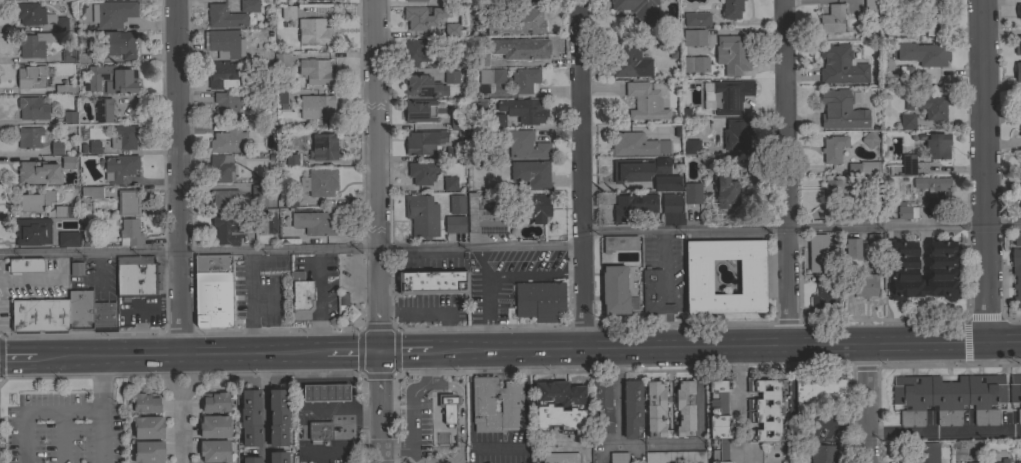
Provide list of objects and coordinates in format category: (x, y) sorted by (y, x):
building: (312, 0)
building: (416, 0)
building: (527, 1)
building: (248, 6)
building: (869, 7)
building: (731, 8)
building: (638, 10)
building: (288, 12)
building: (113, 13)
building: (1016, 14)
building: (37, 16)
building: (224, 16)
building: (931, 16)
building: (424, 17)
building: (697, 19)
building: (832, 19)
building: (531, 22)
building: (453, 29)
building: (314, 31)
building: (694, 37)
building: (226, 43)
building: (117, 44)
building: (33, 45)
building: (1017, 45)
building: (532, 48)
building: (414, 51)
building: (900, 54)
building: (67, 55)
building: (732, 55)
building: (932, 55)
building: (486, 57)
building: (451, 58)
building: (623, 58)
building: (281, 59)
building: (695, 64)
building: (842, 65)
building: (315, 71)
building: (1018, 71)
building: (905, 73)
building: (228, 75)
building: (31, 76)
building: (492, 76)
building: (452, 77)
building: (124, 79)
building: (525, 79)
building: (422, 86)
building: (65, 88)
building: (281, 94)
building: (730, 96)
building: (275, 98)
building: (645, 101)
building: (908, 102)
building: (1020, 102)
building: (932, 104)
building: (225, 106)
building: (316, 106)
building: (476, 106)
building: (33, 107)
building: (524, 109)
building: (103, 110)
building: (421, 110)
building: (691, 110)
building: (841, 110)
building: (69, 116)
building: (907, 120)
building: (455, 122)
building: (1020, 131)
building: (737, 133)
building: (29, 137)
building: (123, 137)
building: (869, 139)
building: (229, 140)
building: (424, 142)
building: (525, 144)
building: (638, 144)
building: (690, 146)
building: (937, 146)
building: (56, 147)
building: (94, 147)
building: (323, 147)
building: (833, 148)
building: (452, 153)
building: (291, 159)
building: (68, 161)
building: (1020, 163)
building: (908, 164)
building: (119, 167)
building: (221, 167)
building: (863, 167)
building: (638, 168)
road: (986, 169)
road: (787, 171)
building: (423, 172)
building: (39, 173)
building: (531, 173)
road: (579, 173)
road: (375, 174)
road: (177, 176)
building: (322, 182)
building: (666, 182)
building: (450, 183)
building: (932, 188)
building: (836, 190)
building: (724, 191)
building: (91, 192)
building: (258, 193)
building: (692, 193)
building: (34, 200)
building: (287, 200)
building: (225, 201)
building: (671, 201)
building: (128, 202)
building: (1020, 203)
building: (457, 204)
building: (534, 206)
building: (633, 207)
building: (64, 211)
building: (906, 211)
building: (897, 213)
building: (422, 216)
building: (483, 218)
building: (259, 222)
building: (315, 222)
building: (454, 224)
road: (800, 227)
building: (226, 230)
building: (32, 231)
building: (129, 232)
building: (68, 238)
building: (1017, 238)
building: (874, 239)
building: (619, 243)
building: (854, 247)
road: (290, 248)
building: (845, 250)
building: (819, 251)
building: (24, 265)
building: (76, 268)
building: (942, 270)
road: (533, 274)
building: (1016, 274)
building: (136, 276)
building: (698, 276)
building: (432, 282)
building: (865, 285)
building: (614, 289)
building: (213, 291)
building: (301, 293)
building: (654, 293)
road: (488, 295)
building: (824, 297)
building: (342, 300)
building: (539, 300)
building: (80, 310)
building: (350, 312)
building: (38, 315)
building: (103, 316)
road: (984, 317)
road: (363, 328)
road: (280, 329)
road: (81, 332)
road: (730, 344)
road: (350, 350)
traffic signals: (378, 350)
road: (409, 350)
road: (187, 352)
road: (26, 355)
road: (263, 369)
road: (305, 380)
road: (336, 380)
gas station: (325, 392)
road: (525, 393)
building: (818, 393)
building: (1015, 393)
building: (317, 394)
road: (469, 394)
road: (617, 395)
building: (948, 398)
building: (215, 401)
road: (865, 402)
building: (145, 403)
road: (737, 403)
building: (482, 405)
road: (378, 406)
building: (602, 406)
road: (102, 408)
road: (181, 408)
road: (342, 408)
building: (559, 408)
building: (632, 408)
building: (684, 408)
road: (410, 409)
building: (654, 409)
building: (765, 409)
building: (443, 411)
road: (37, 413)
building: (250, 417)
building: (277, 417)
building: (268, 418)
building: (719, 420)
road: (264, 425)
building: (214, 426)
building: (148, 427)
parking lot: (63, 429)
building: (320, 430)
road: (943, 431)
road: (61, 438)
road: (498, 446)
building: (214, 450)
building: (148, 452)
building: (823, 453)
building: (925, 453)
building: (278, 457)
building: (618, 457)
building: (675, 457)
building: (560, 458)
building: (251, 459)
building: (975, 462)
building: (993, 462)
building: (1018, 462)

